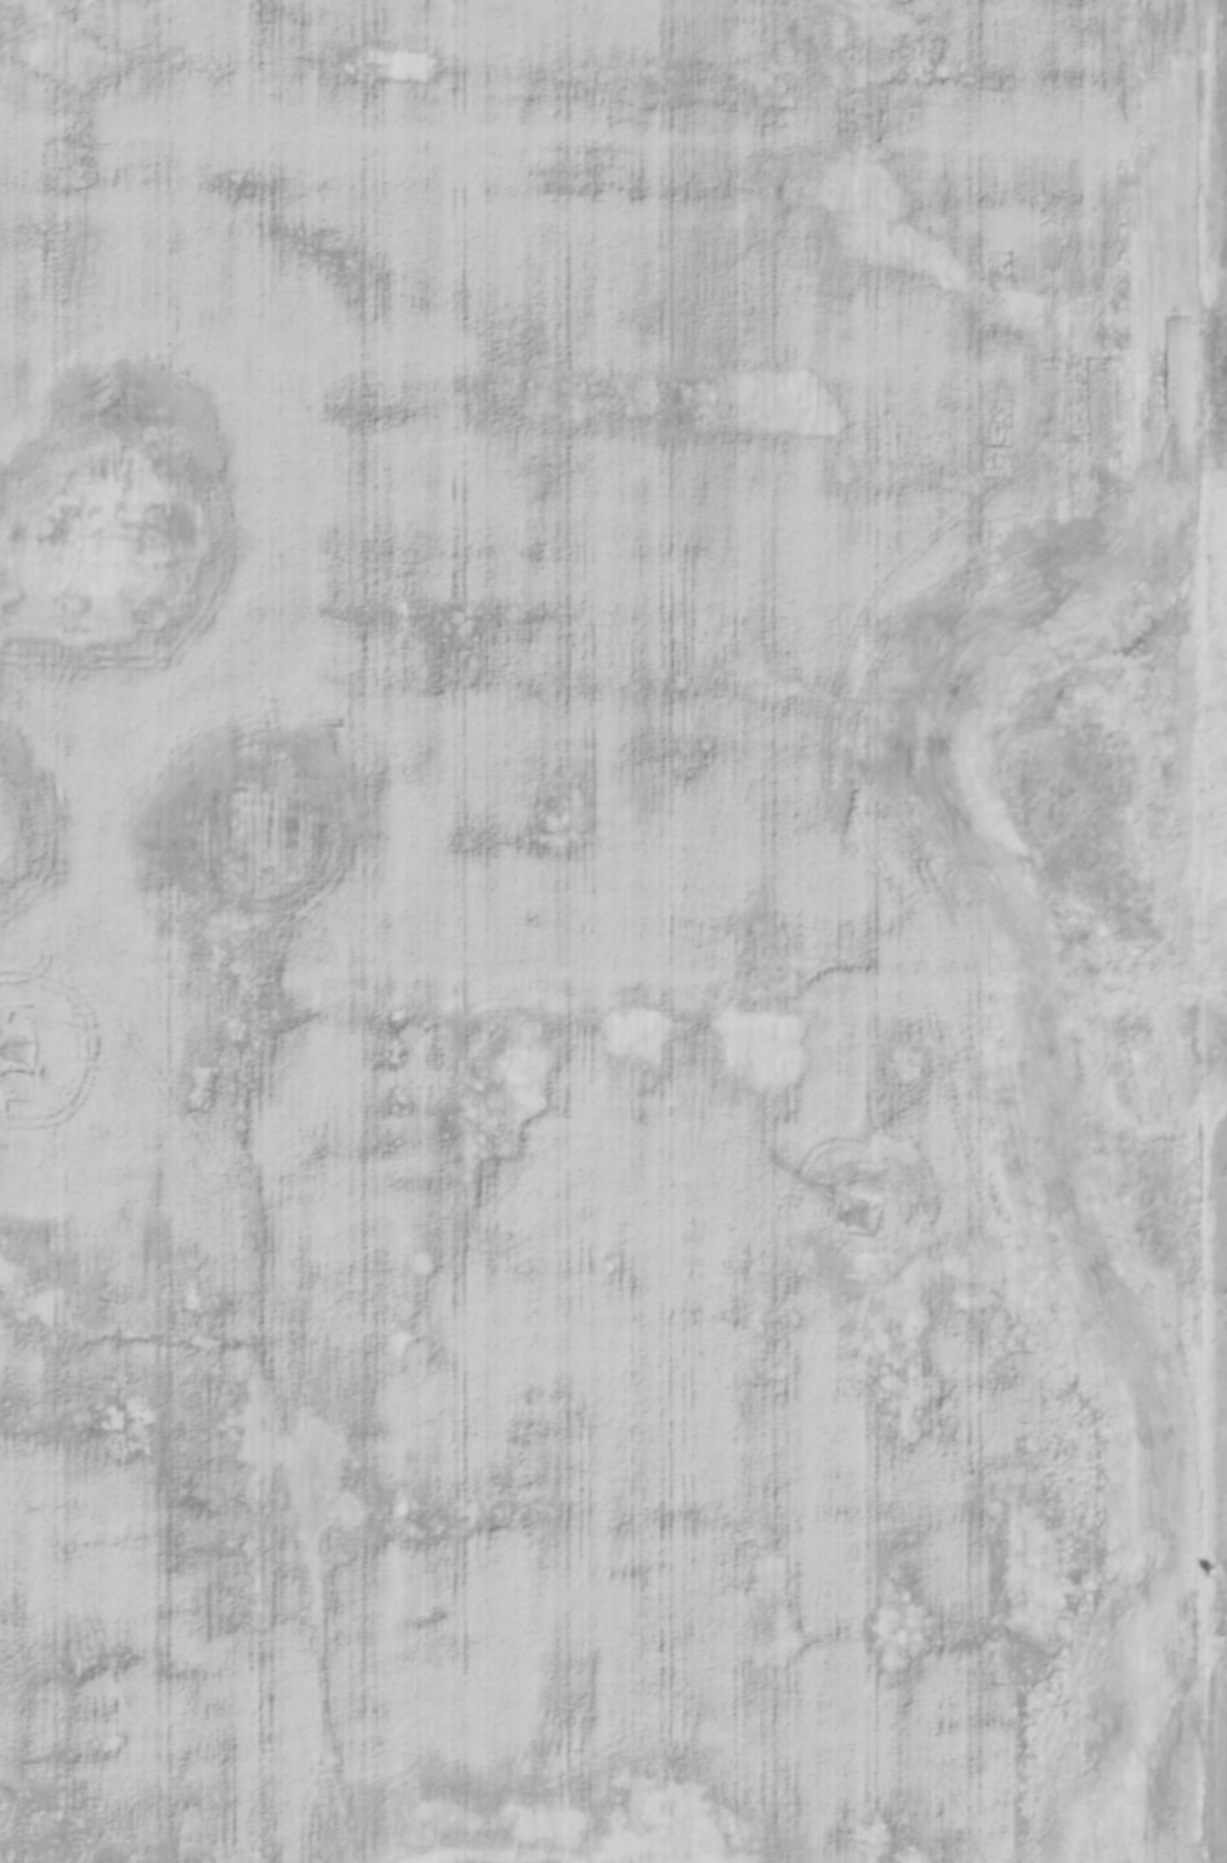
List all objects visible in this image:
power tower: (24, 1028)
power tower: (881, 1200)

